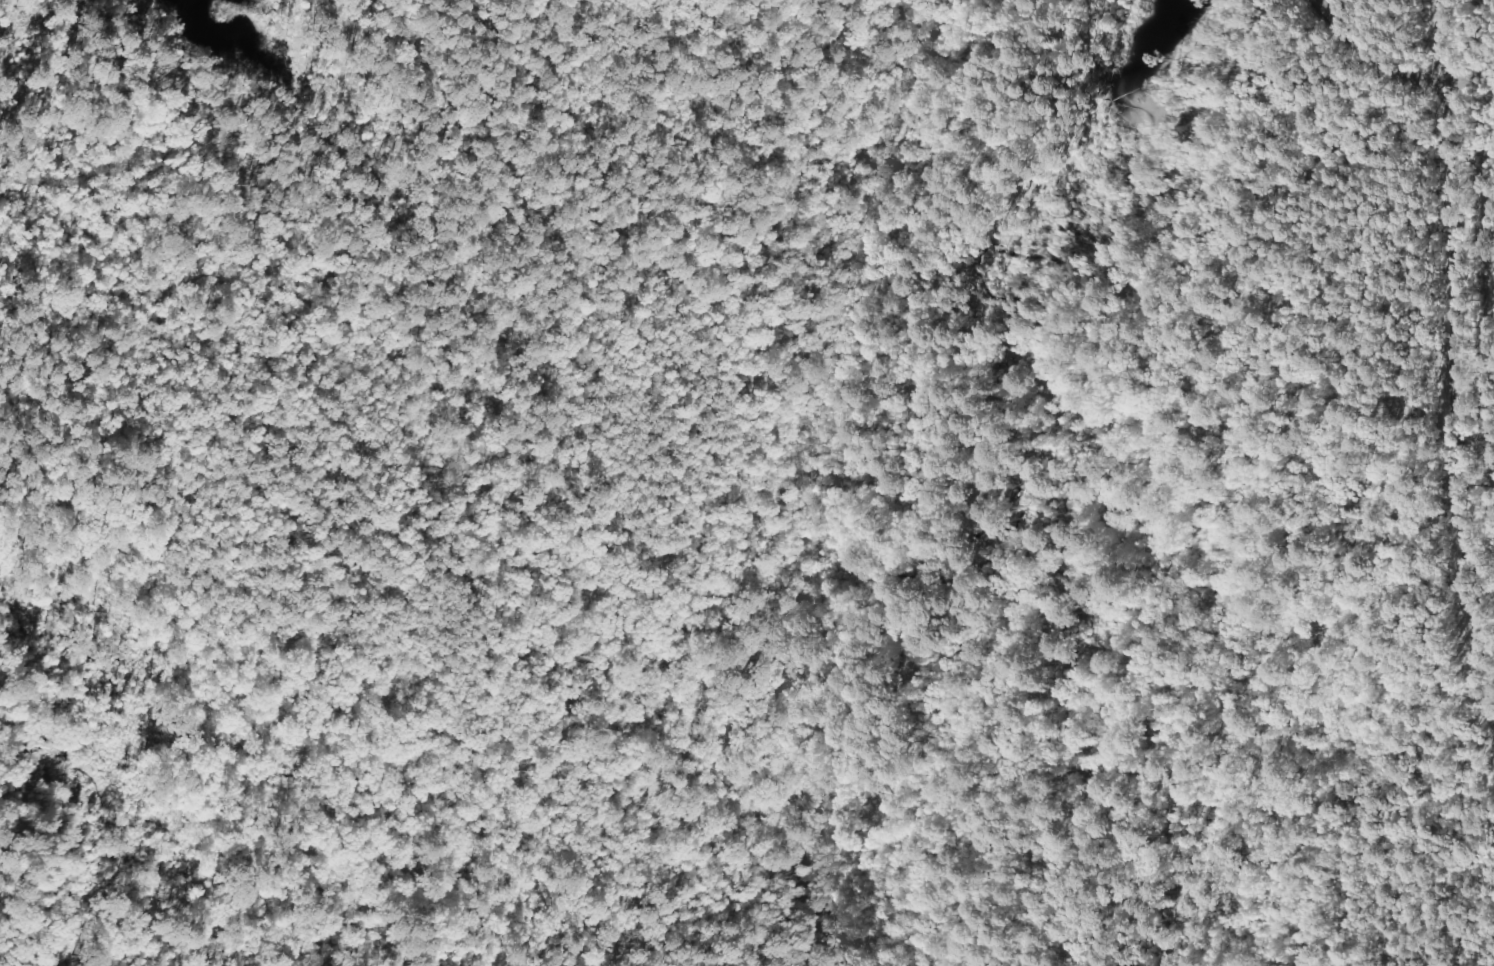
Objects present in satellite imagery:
road: (1357, 65)
road: (1449, 365)

